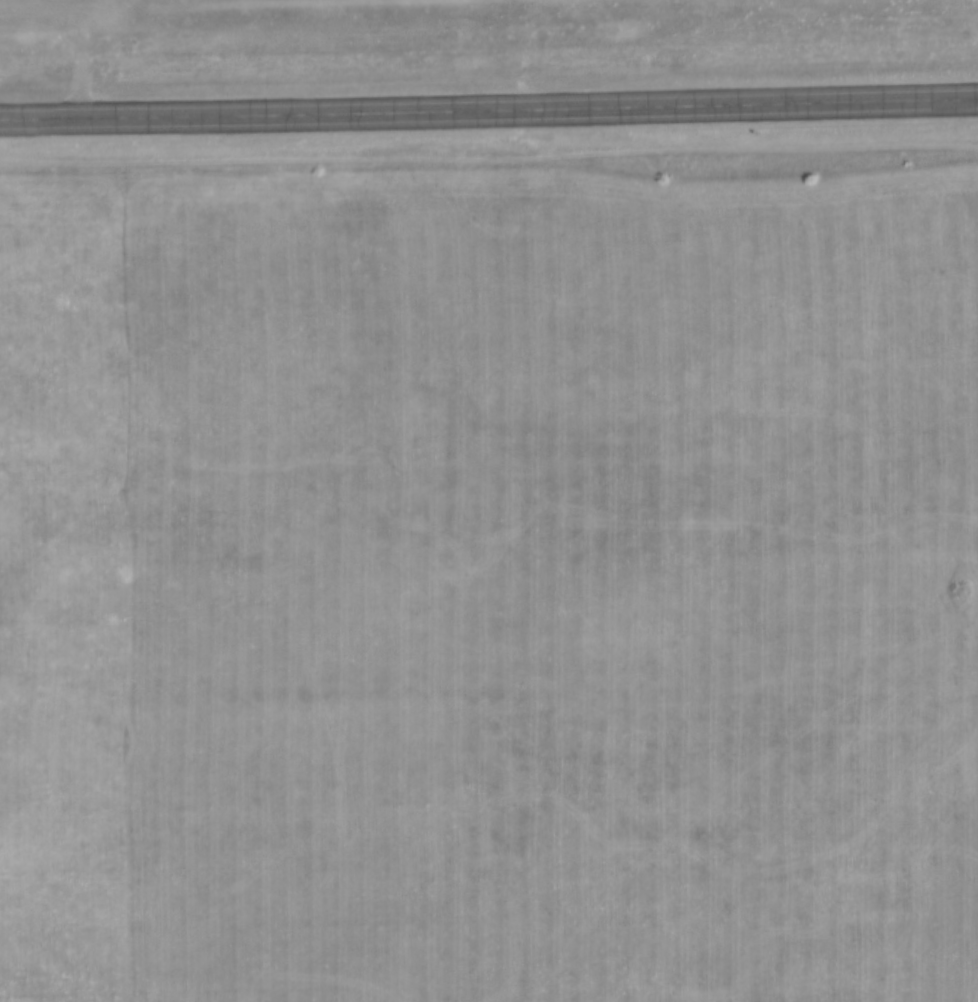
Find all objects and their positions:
road: (489, 103)

